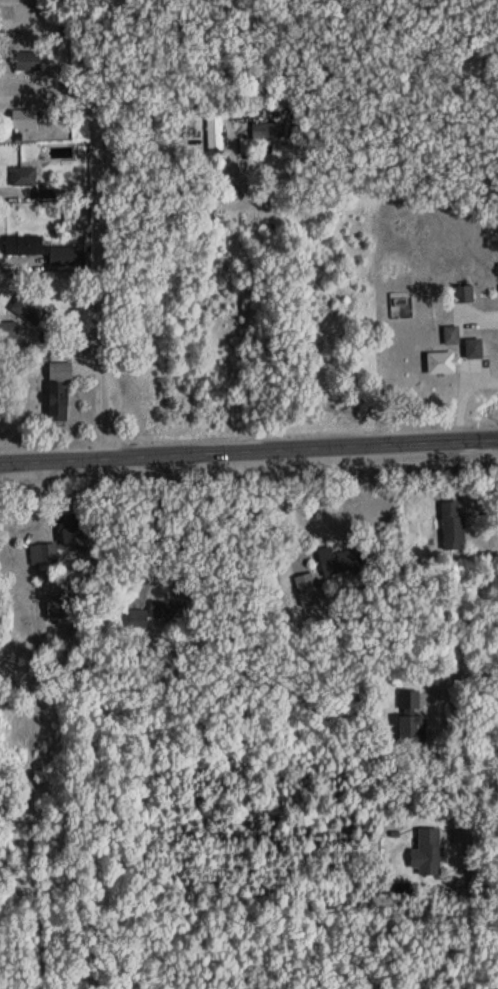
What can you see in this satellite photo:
building: (28, 61)
building: (25, 119)
building: (267, 130)
building: (214, 132)
building: (26, 176)
road: (91, 233)
building: (42, 250)
building: (464, 294)
building: (29, 311)
building: (9, 331)
building: (452, 335)
building: (475, 348)
building: (443, 363)
road: (249, 458)
road: (286, 508)
road: (155, 519)
building: (74, 527)
building: (454, 530)
building: (339, 559)
building: (61, 605)
building: (170, 609)
building: (410, 718)
building: (428, 851)

